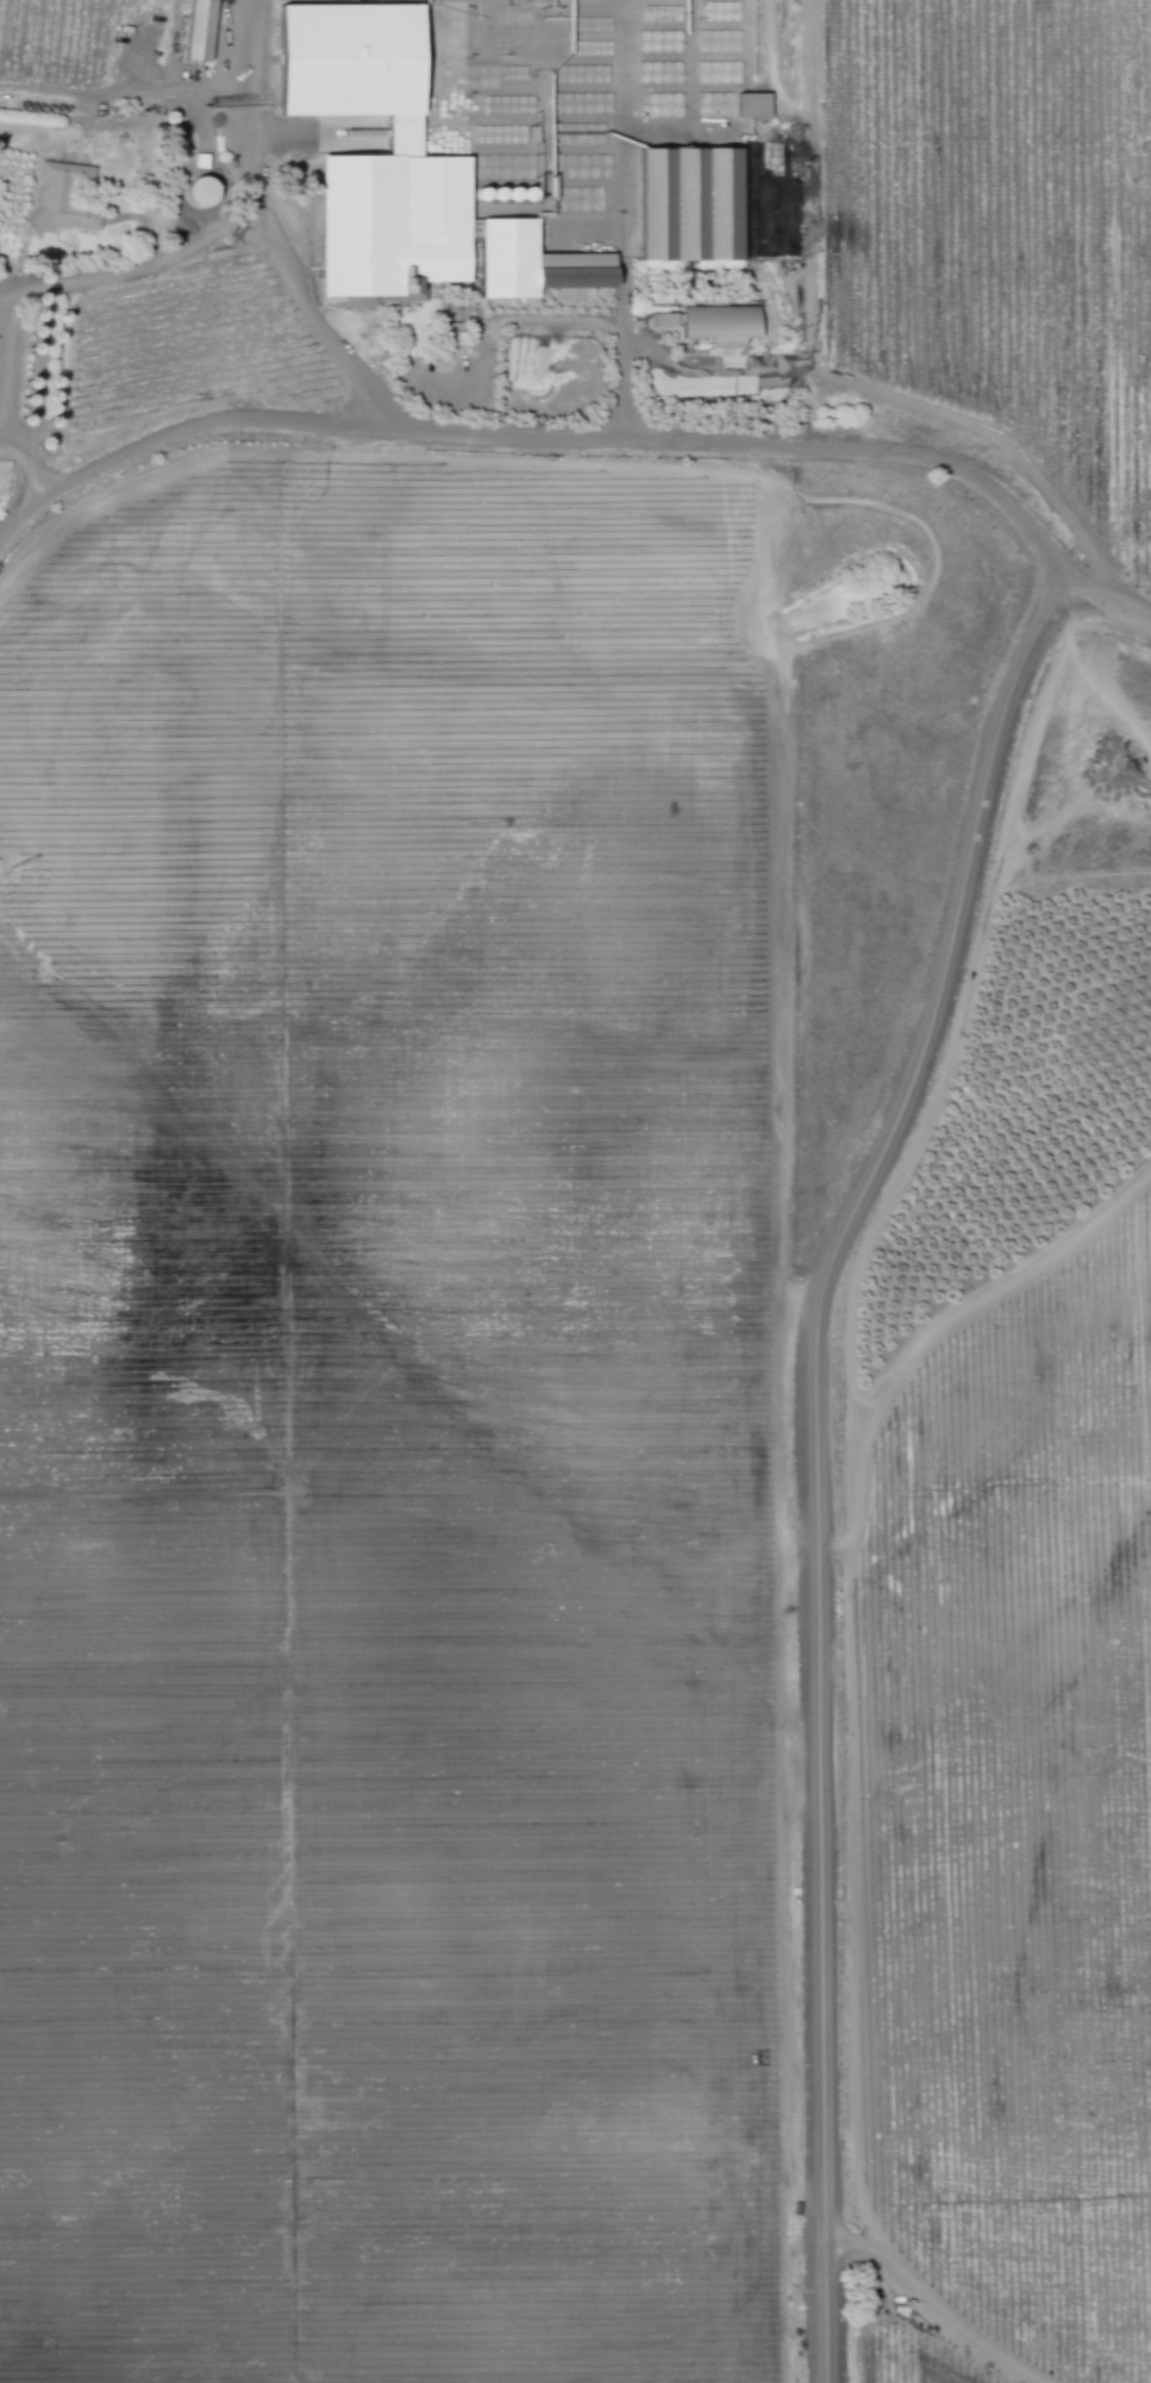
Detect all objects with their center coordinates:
building: (194, 31)
road: (158, 93)
building: (747, 106)
building: (393, 173)
road: (799, 181)
building: (61, 199)
road: (273, 231)
road: (58, 277)
road: (21, 279)
road: (612, 323)
building: (714, 325)
road: (620, 346)
road: (543, 436)
road: (19, 443)
road: (1115, 603)
road: (820, 1457)

